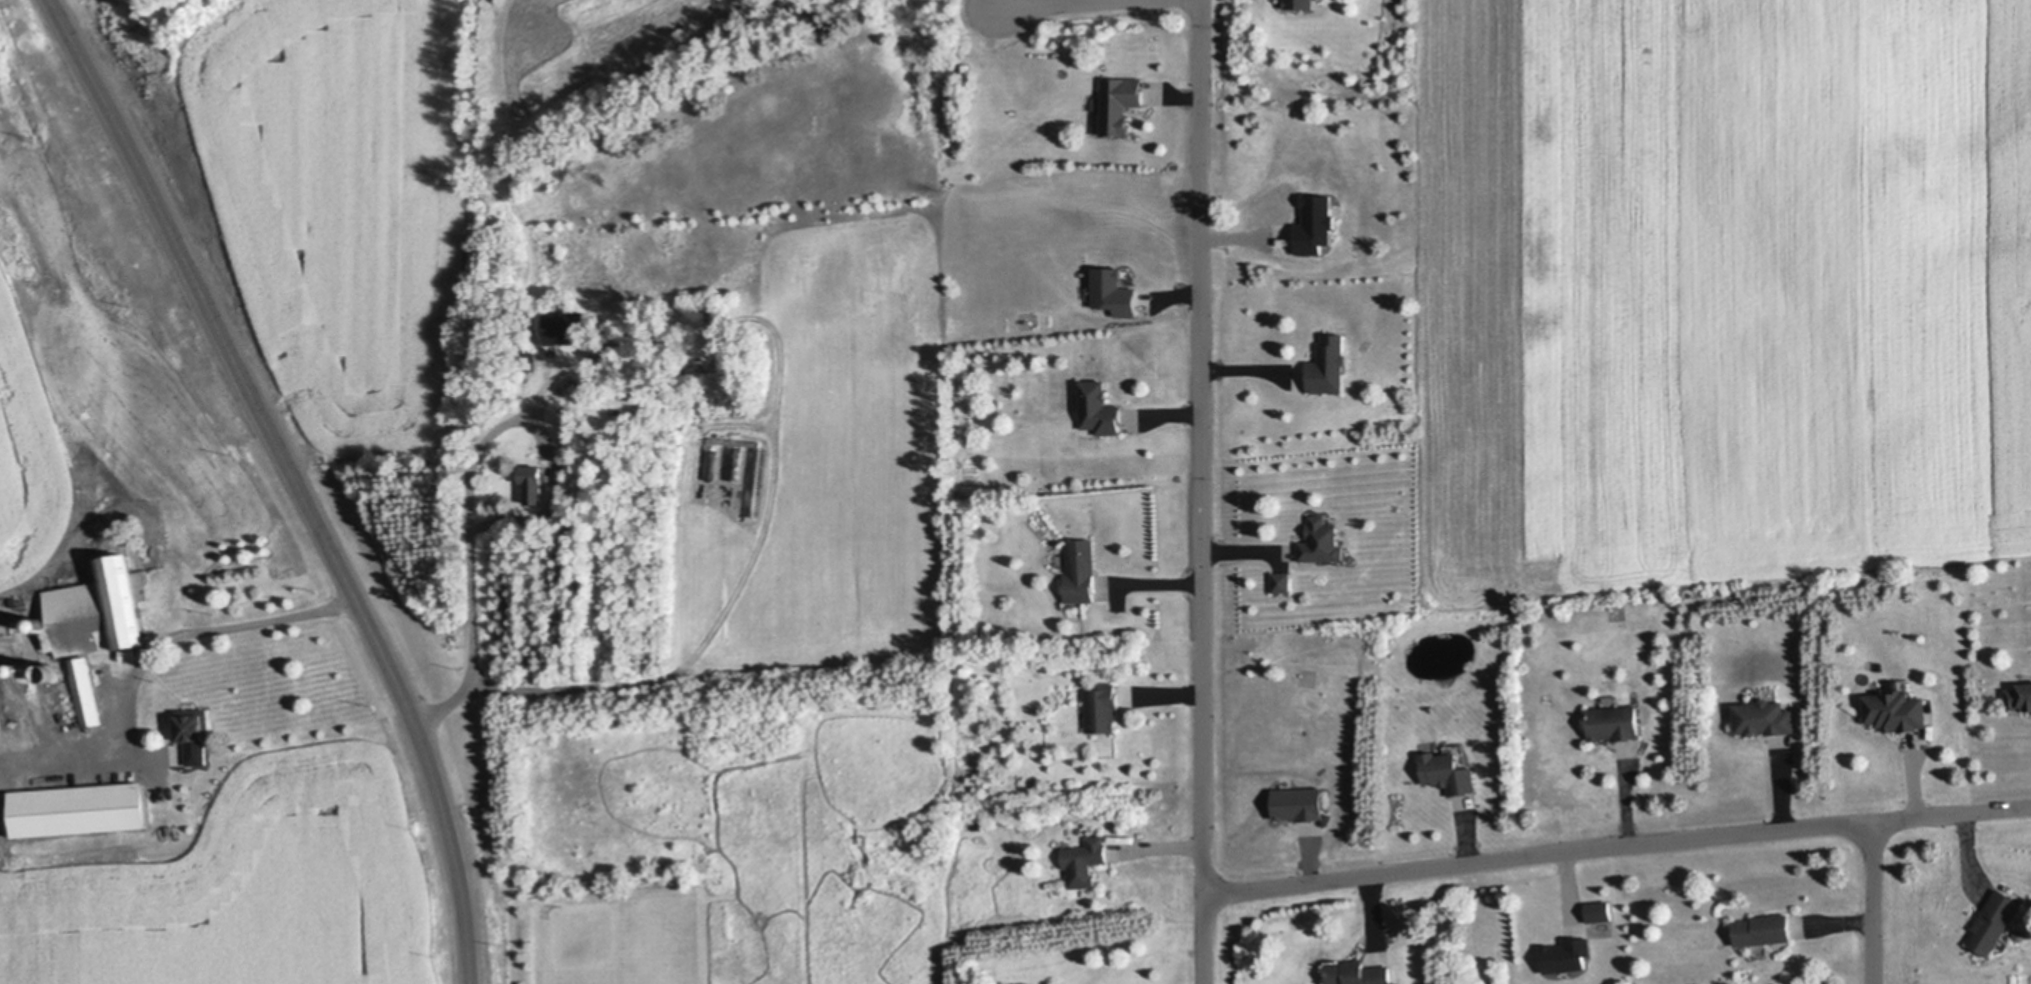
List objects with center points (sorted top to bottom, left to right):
road: (1058, 3)
building: (1301, 4)
building: (1120, 103)
building: (1316, 226)
building: (1115, 293)
building: (567, 327)
building: (532, 360)
building: (1329, 364)
building: (621, 387)
building: (1100, 408)
road: (294, 480)
building: (536, 481)
road: (474, 483)
road: (1203, 492)
building: (1323, 540)
building: (1082, 570)
building: (1283, 581)
building: (96, 612)
road: (174, 637)
building: (128, 653)
building: (1700, 653)
building: (24, 670)
building: (87, 691)
building: (2020, 696)
building: (1102, 707)
building: (1897, 710)
building: (1764, 717)
building: (1615, 722)
building: (195, 723)
building: (1450, 769)
building: (1300, 804)
building: (80, 808)
road: (1951, 816)
road: (1540, 858)
building: (1085, 861)
road: (1873, 904)
building: (1600, 910)
building: (1994, 921)
building: (1763, 930)
building: (2020, 934)
building: (1567, 954)
building: (1357, 973)

